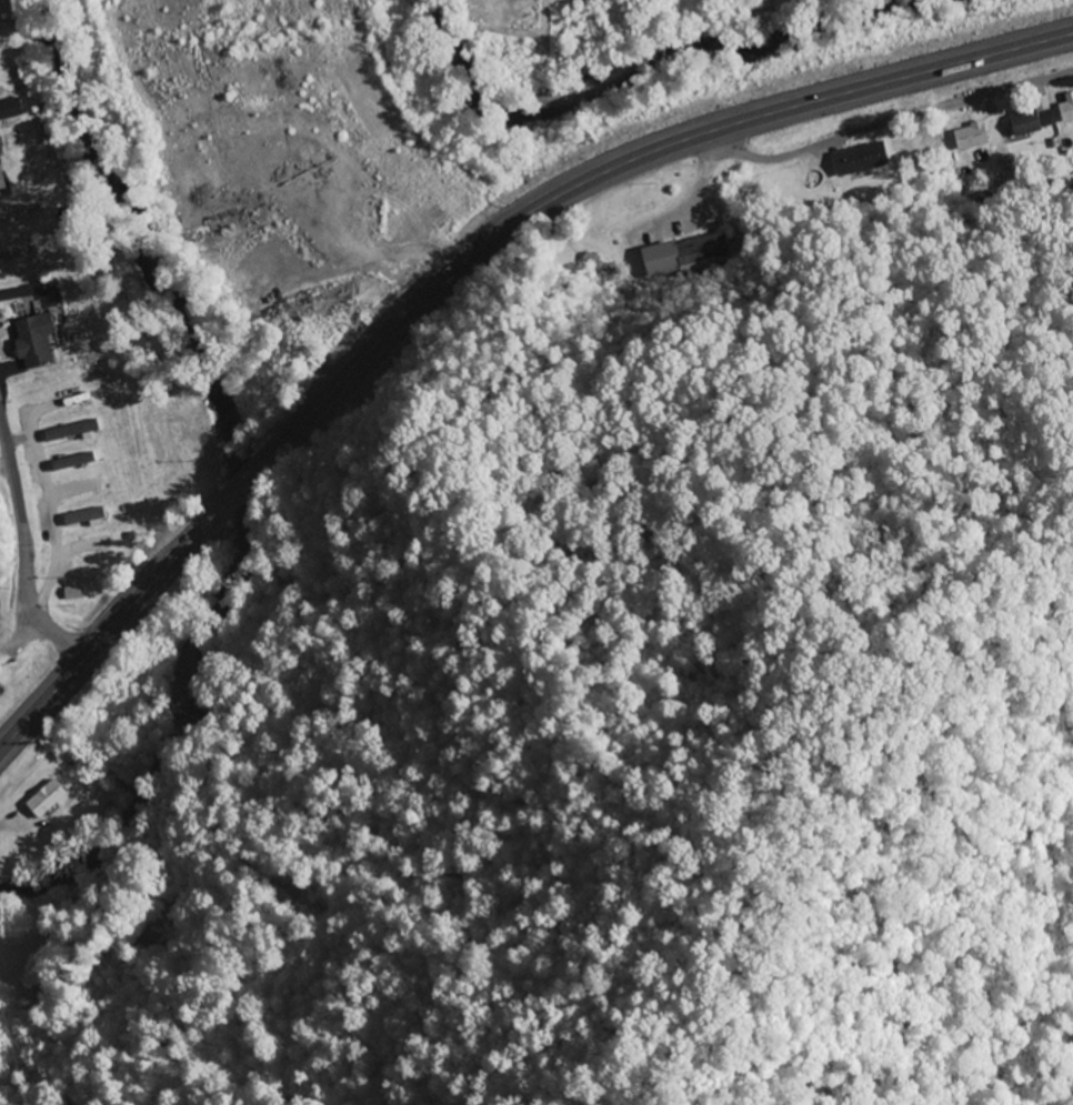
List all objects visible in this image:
building: (9, 109)
building: (1065, 111)
road: (889, 122)
building: (1030, 122)
building: (969, 135)
building: (924, 149)
building: (861, 162)
road: (640, 208)
building: (688, 254)
road: (457, 270)
building: (31, 341)
building: (69, 431)
building: (73, 462)
building: (73, 490)
building: (91, 514)
building: (89, 544)
road: (23, 549)
building: (43, 798)

